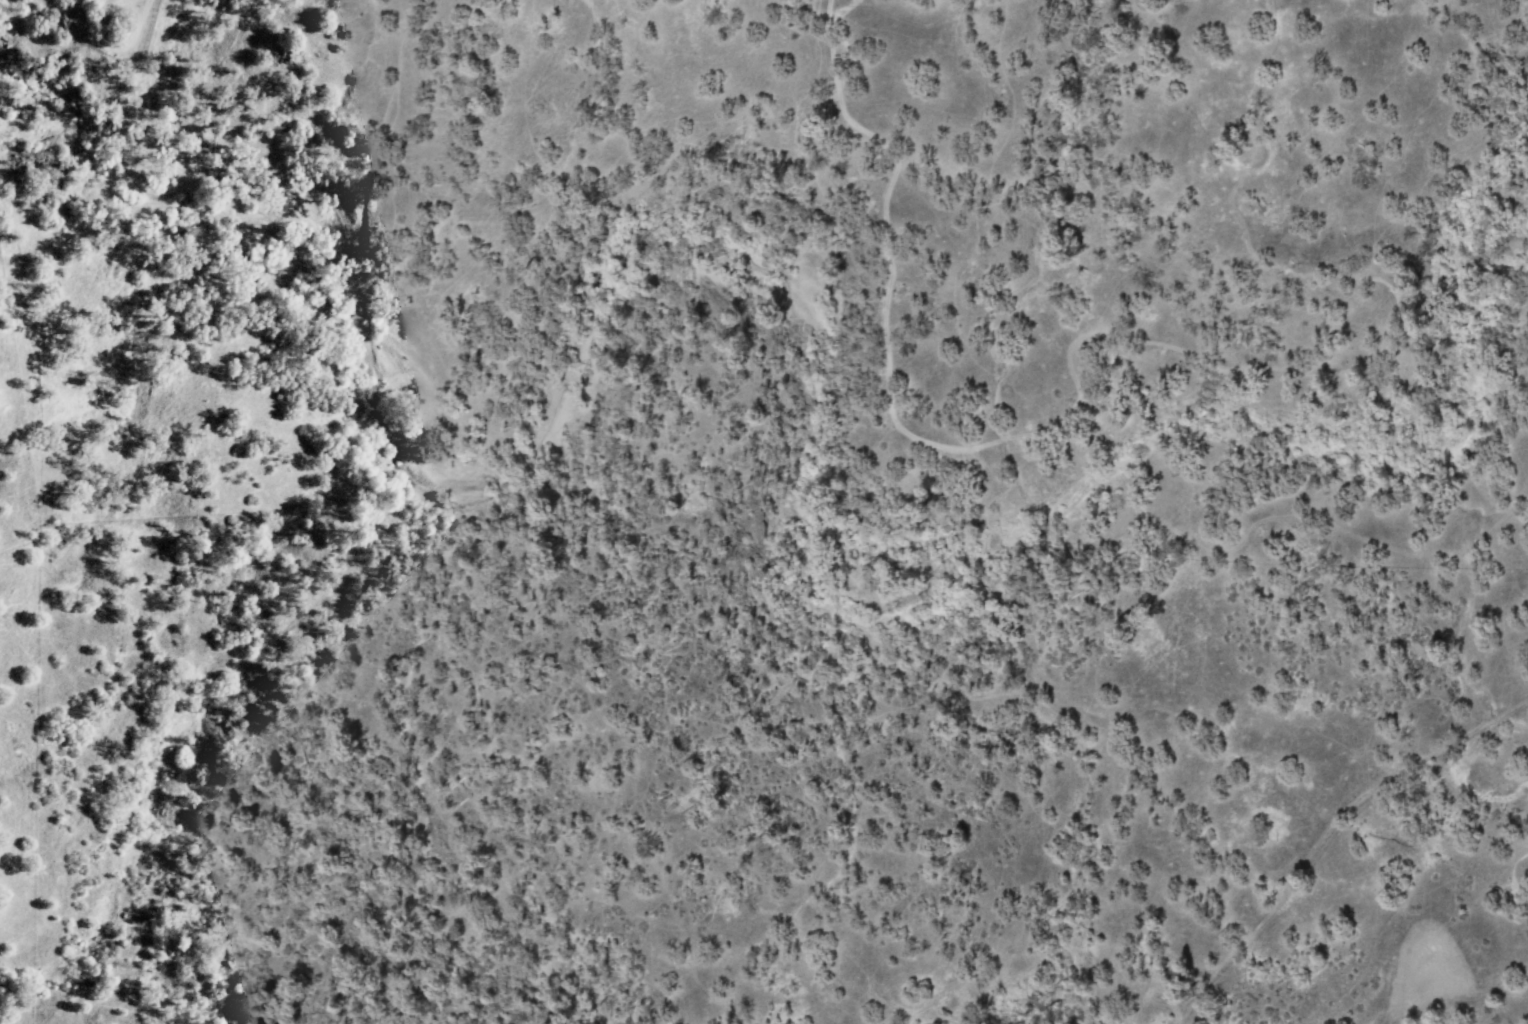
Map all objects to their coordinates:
road: (1321, 835)

